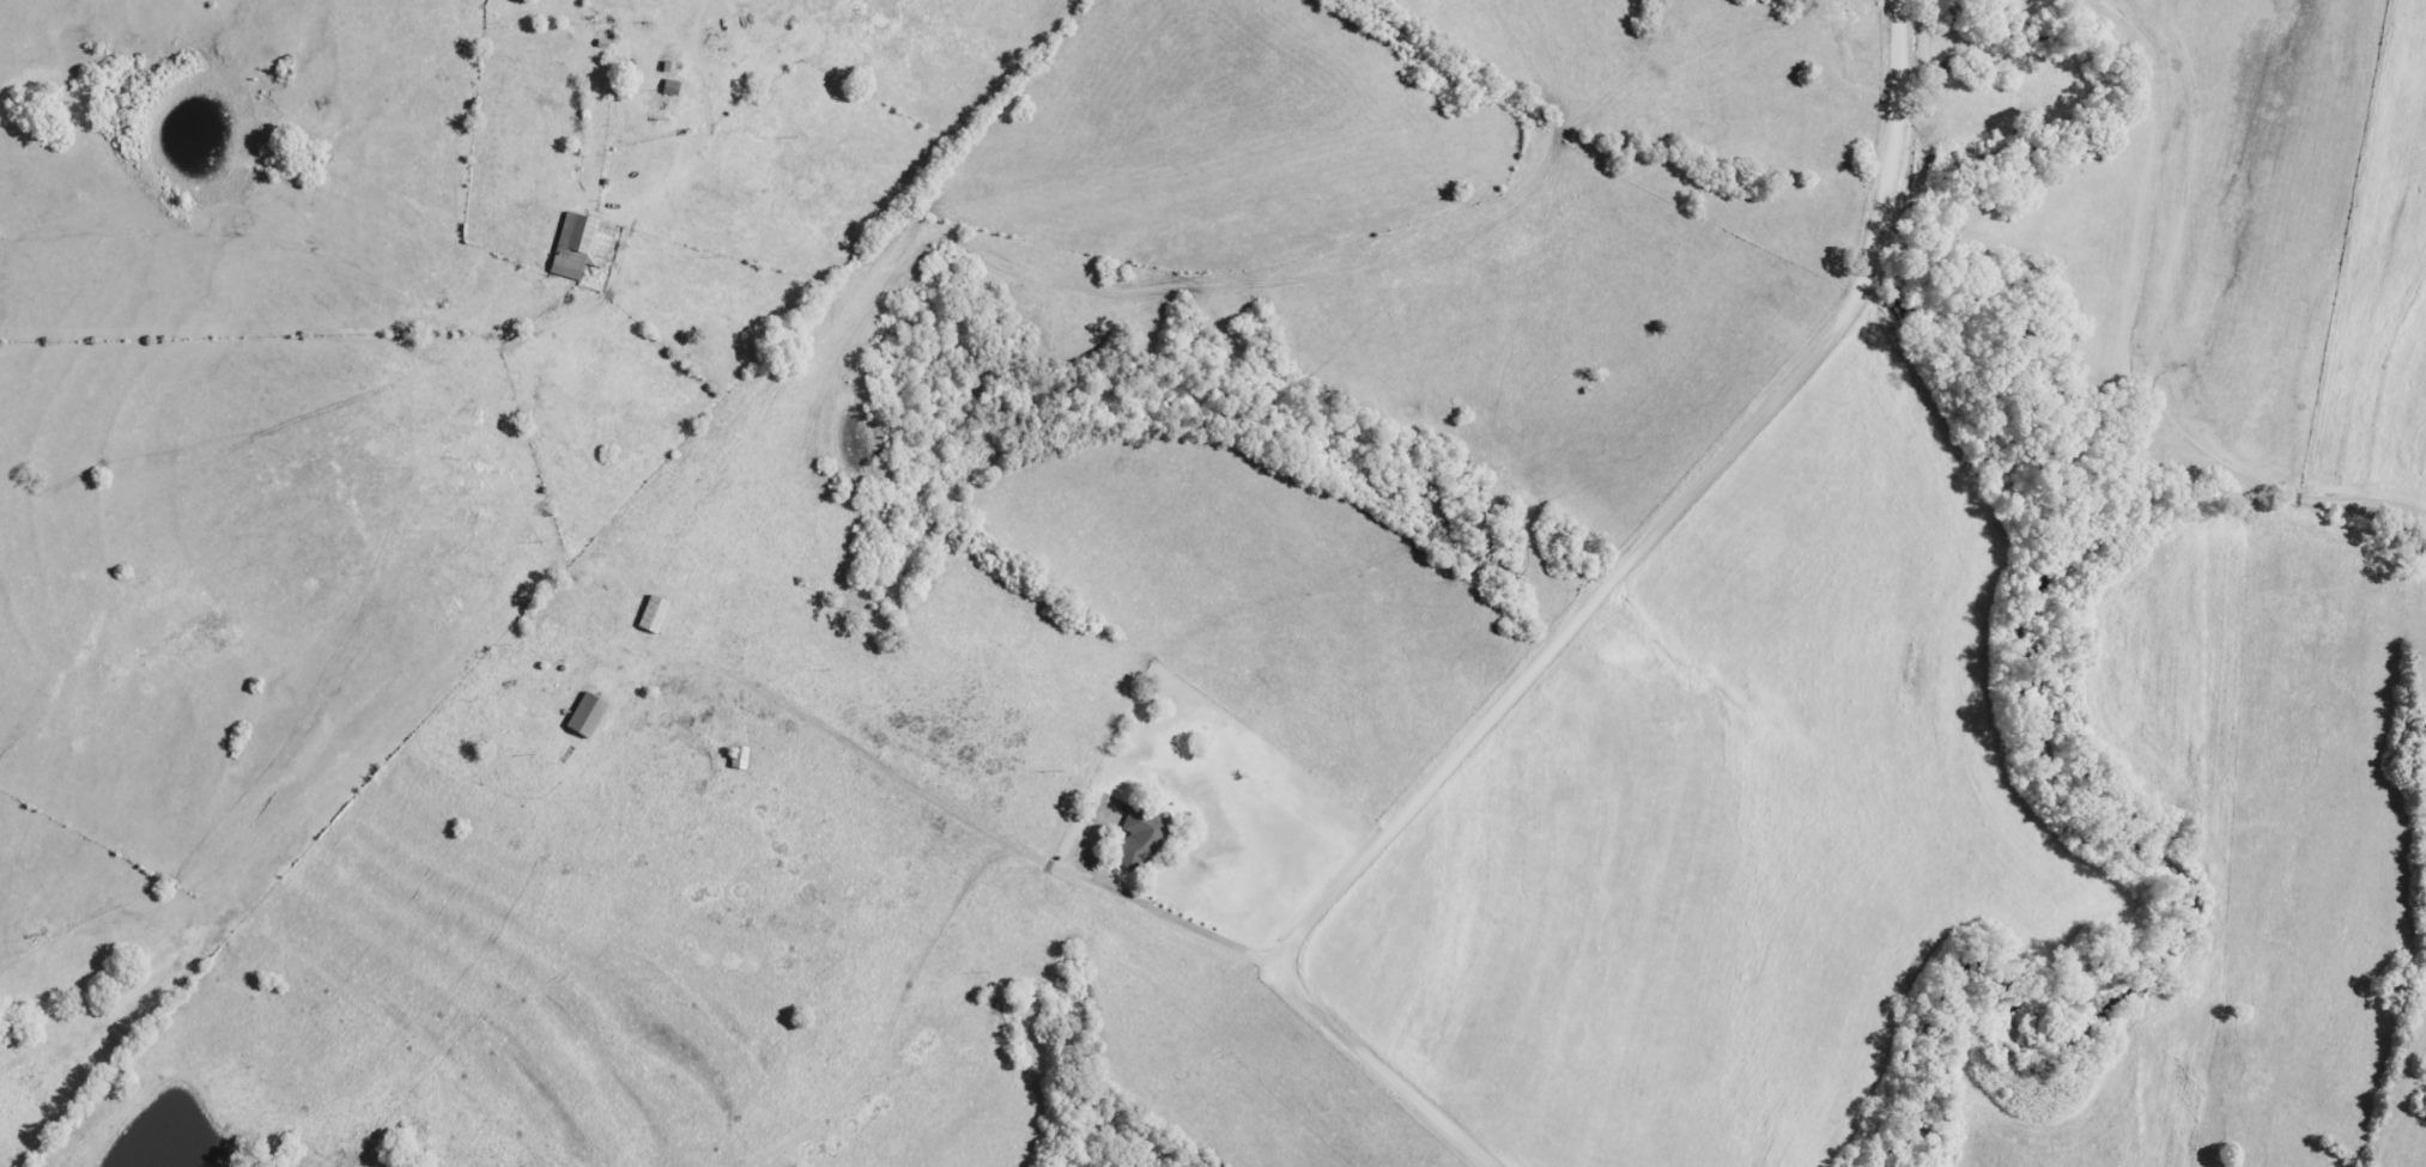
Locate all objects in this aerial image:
road: (1902, 0)
building: (580, 247)
road: (2169, 312)
road: (1578, 625)
building: (584, 717)
building: (1138, 840)

